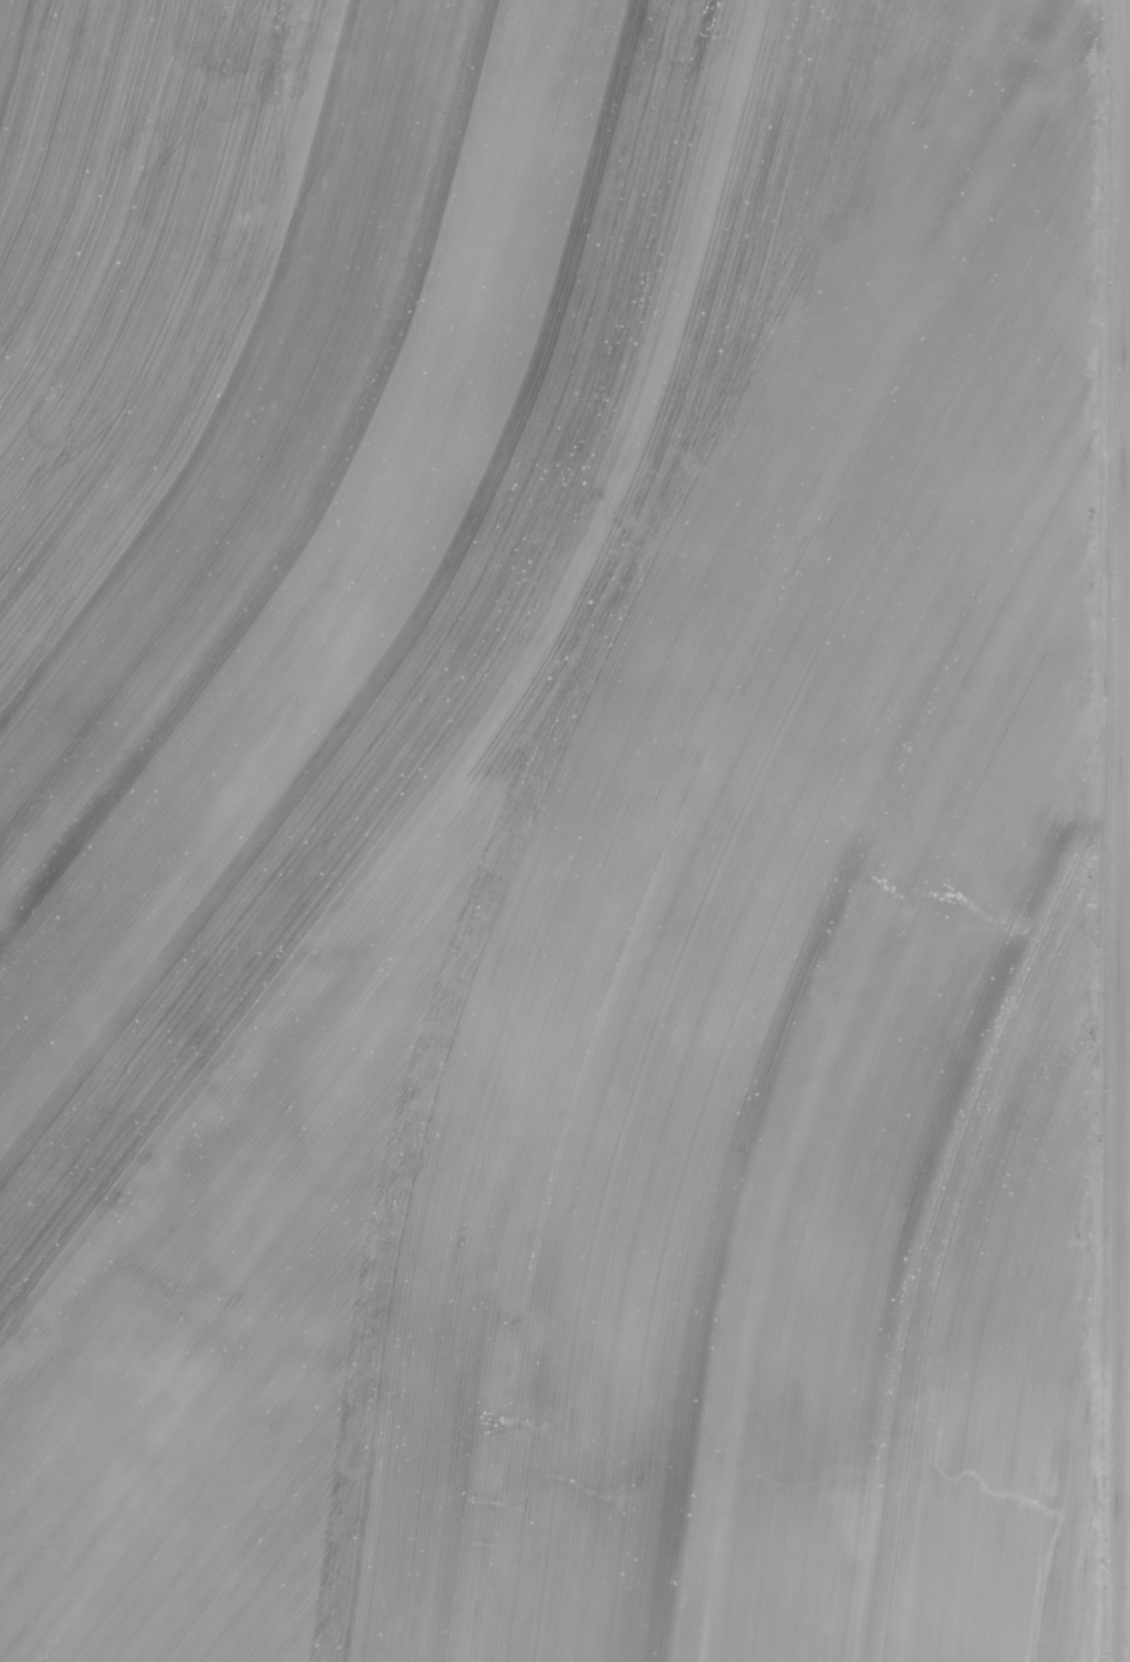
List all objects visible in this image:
road: (1105, 831)

